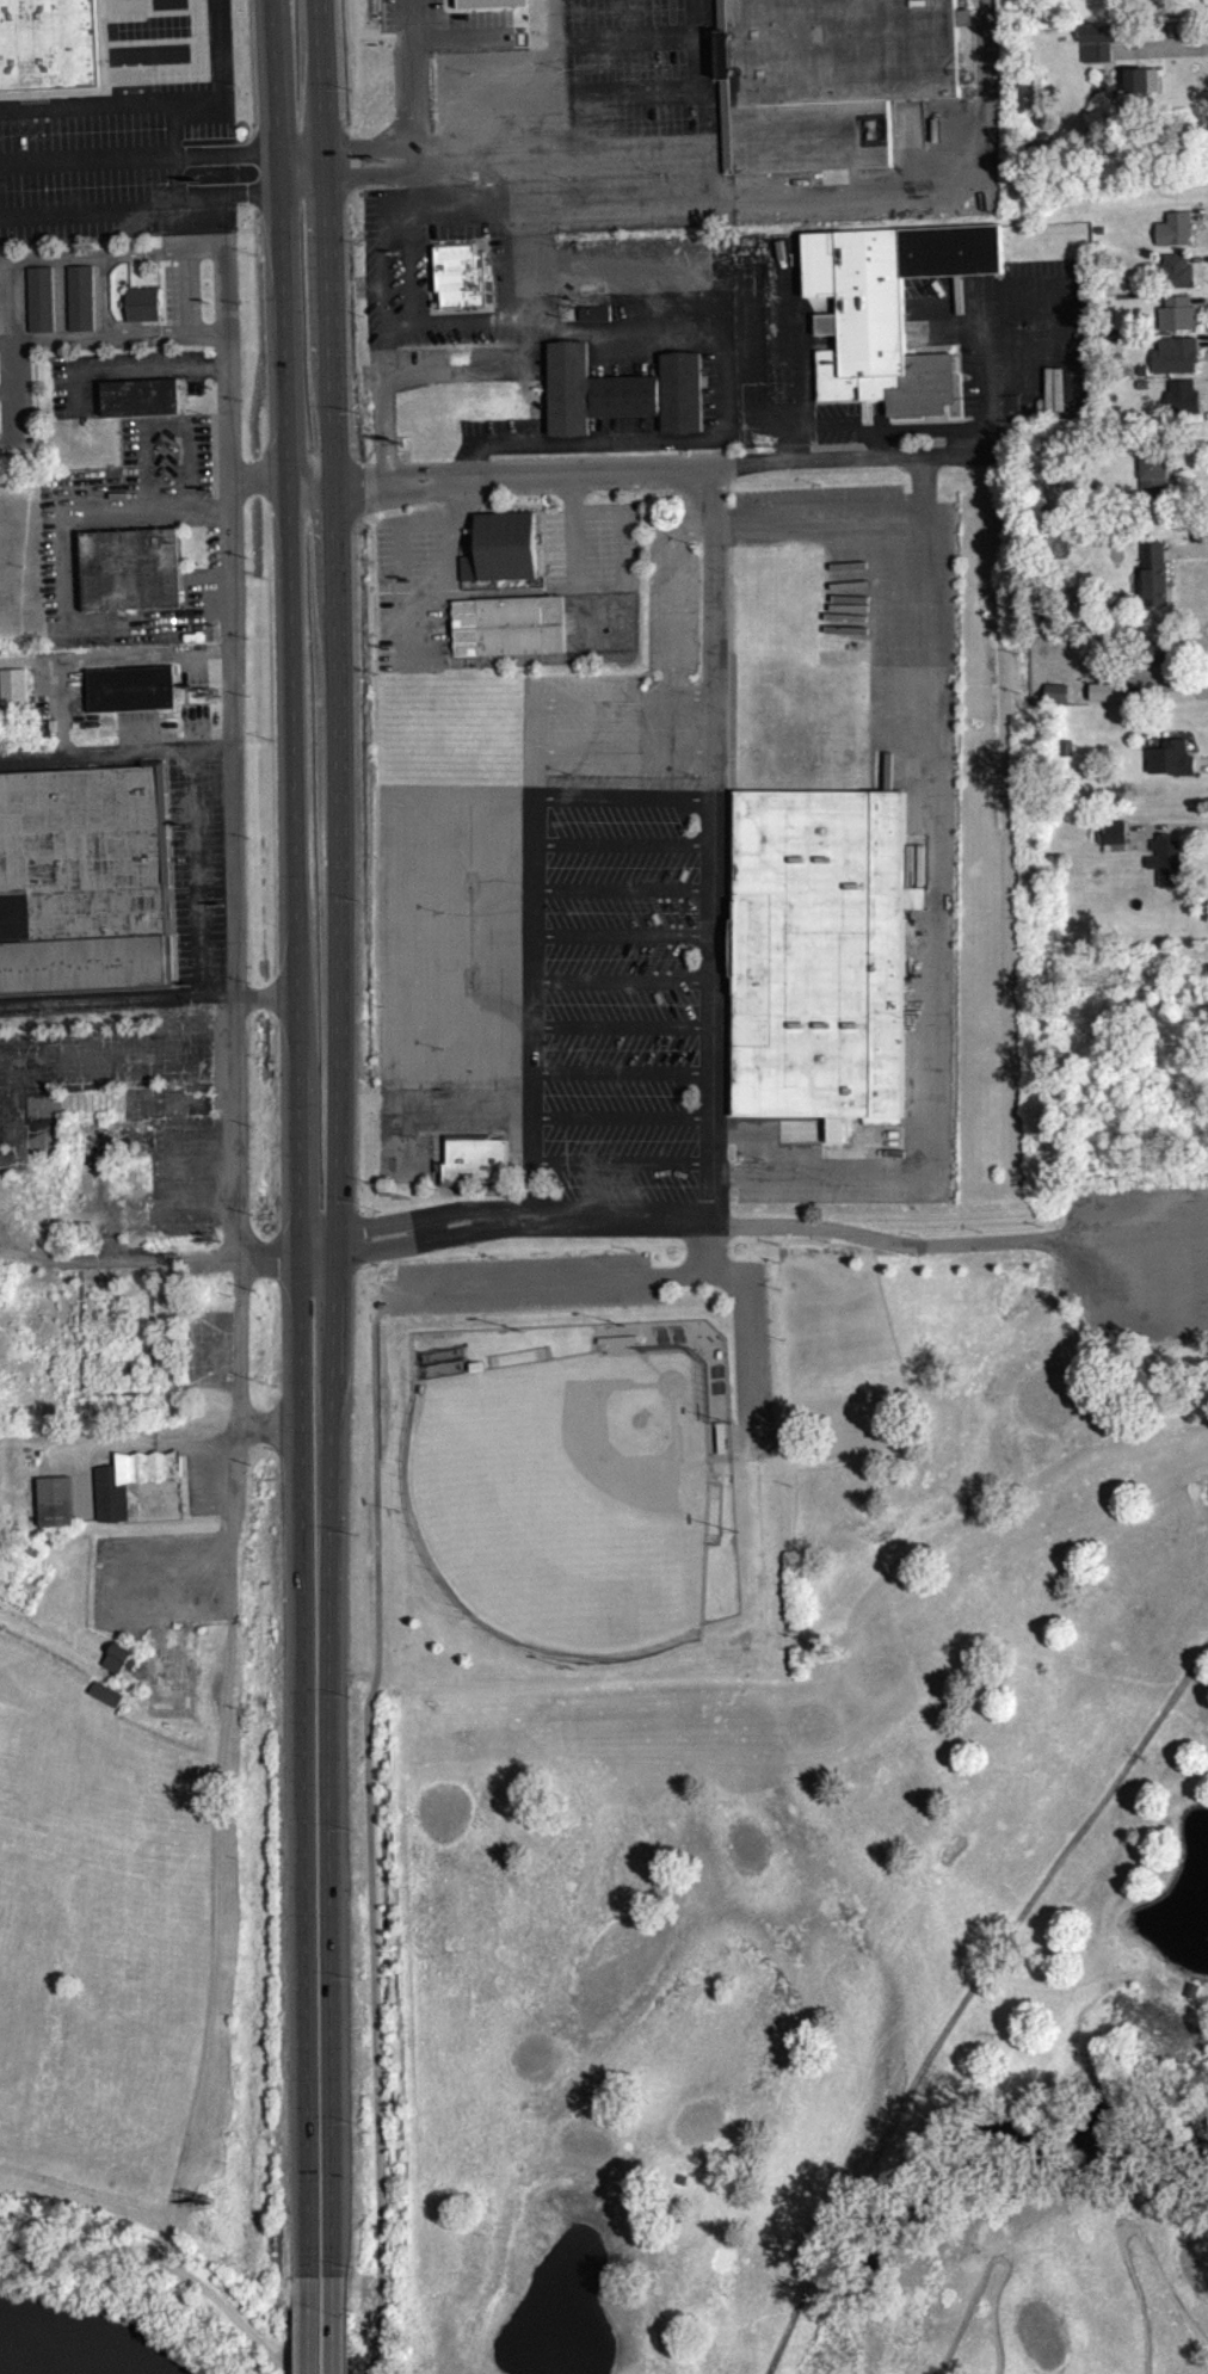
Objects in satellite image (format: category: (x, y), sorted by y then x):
building: (486, 5)
building: (48, 43)
building: (1098, 50)
building: (836, 75)
building: (1144, 88)
road: (376, 158)
road: (88, 165)
road: (177, 178)
road: (306, 183)
road: (377, 184)
building: (1176, 238)
building: (1178, 279)
building: (461, 284)
road: (383, 301)
road: (10, 304)
building: (81, 306)
building: (41, 307)
building: (889, 309)
building: (143, 312)
building: (596, 321)
building: (1178, 321)
building: (1177, 364)
road: (137, 375)
building: (622, 390)
building: (0, 391)
building: (141, 396)
building: (1184, 406)
building: (0, 431)
road: (722, 477)
road: (285, 487)
building: (1154, 487)
building: (506, 544)
building: (130, 567)
road: (67, 578)
building: (1155, 582)
building: (507, 624)
road: (233, 631)
road: (92, 662)
building: (131, 686)
building: (16, 693)
building: (1058, 701)
road: (292, 713)
road: (152, 757)
road: (31, 764)
building: (1170, 764)
building: (1113, 840)
road: (714, 851)
building: (81, 880)
road: (198, 894)
building: (822, 951)
road: (103, 997)
road: (335, 1136)
road: (232, 1155)
building: (476, 1170)
road: (714, 1222)
road: (708, 1246)
road: (648, 1272)
parking lot: (606, 1302)
road: (240, 1368)
park: (574, 1466)
building: (132, 1476)
park: (566, 1498)
building: (56, 1499)
parking lot: (159, 1579)
building: (121, 1655)
building: (122, 1666)
building: (107, 1690)
building: (109, 1702)
road: (369, 1825)
road: (306, 1851)
park: (851, 1885)
park: (94, 1947)
road: (966, 1994)
road: (1121, 2226)
road: (991, 2256)
road: (164, 2262)
road: (310, 2324)
road: (334, 2324)
river: (1, 2373)

